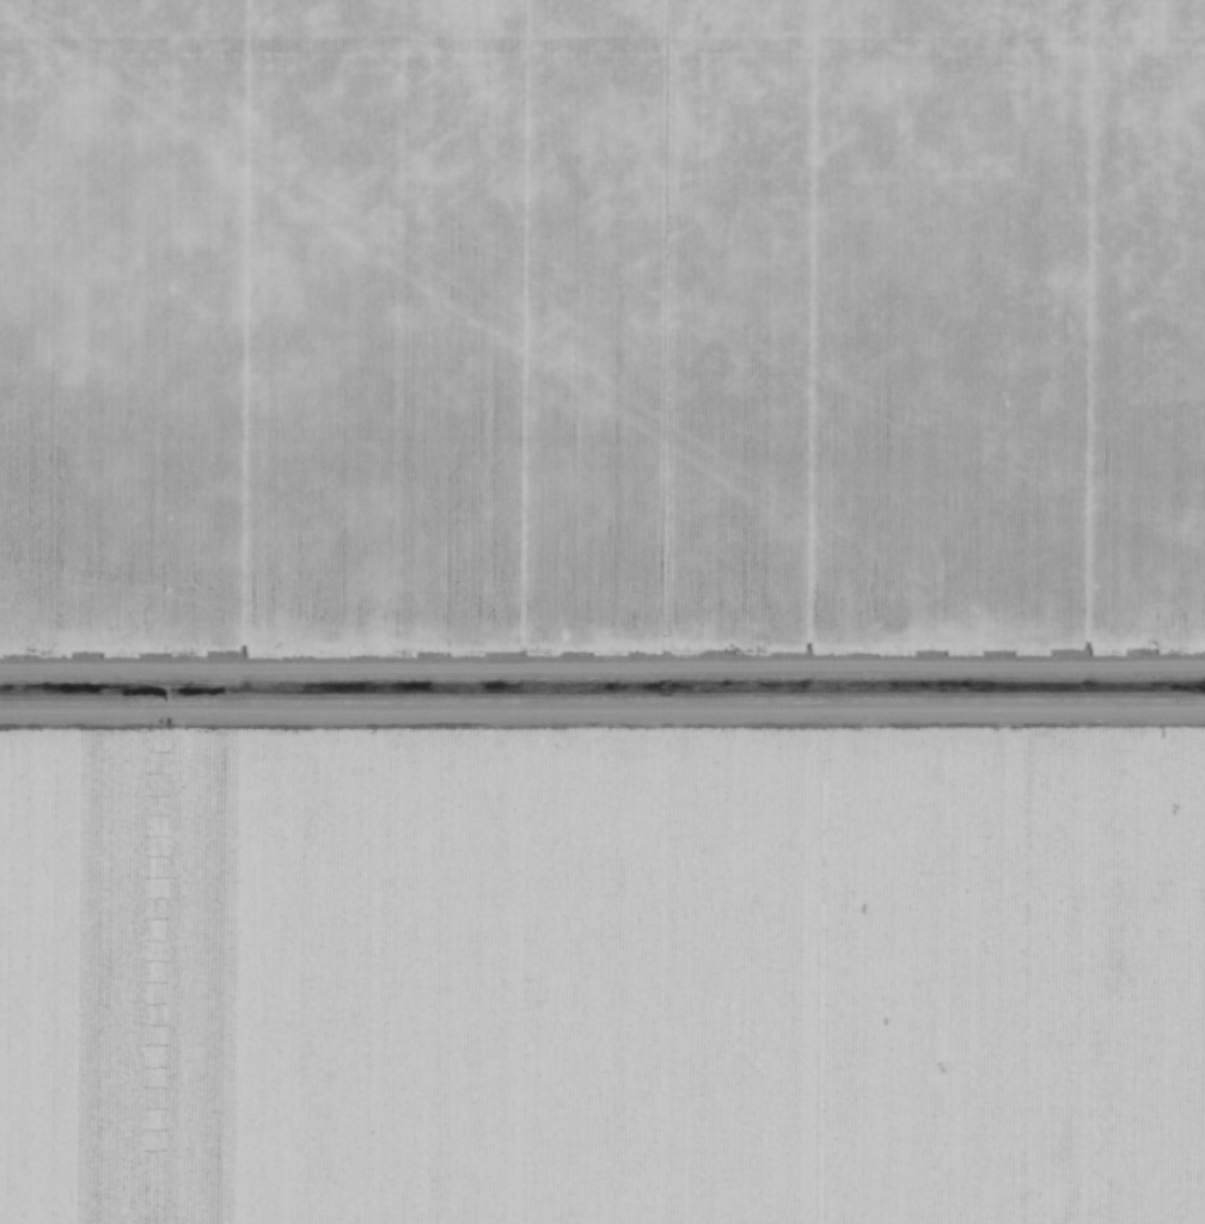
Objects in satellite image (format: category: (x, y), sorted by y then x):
road: (602, 705)

